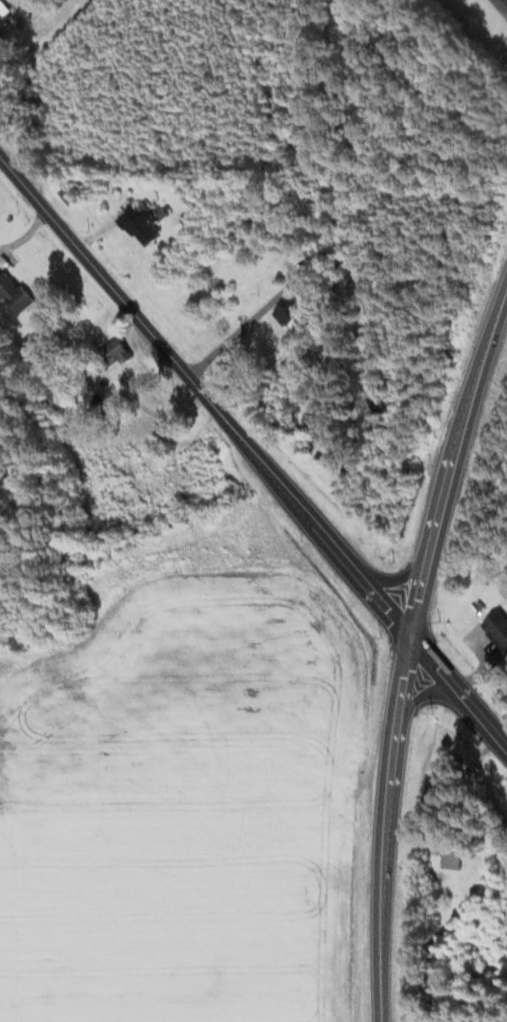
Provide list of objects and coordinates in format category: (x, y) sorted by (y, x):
building: (4, 10)
building: (3, 33)
building: (68, 194)
building: (185, 195)
building: (127, 197)
building: (140, 222)
building: (13, 290)
building: (287, 311)
road: (223, 338)
building: (119, 349)
building: (133, 434)
road: (253, 456)
building: (145, 464)
building: (353, 464)
road: (391, 579)
building: (497, 629)
traffic signals: (406, 639)
road: (404, 651)
road: (417, 700)
crop: (182, 791)
building: (452, 853)

